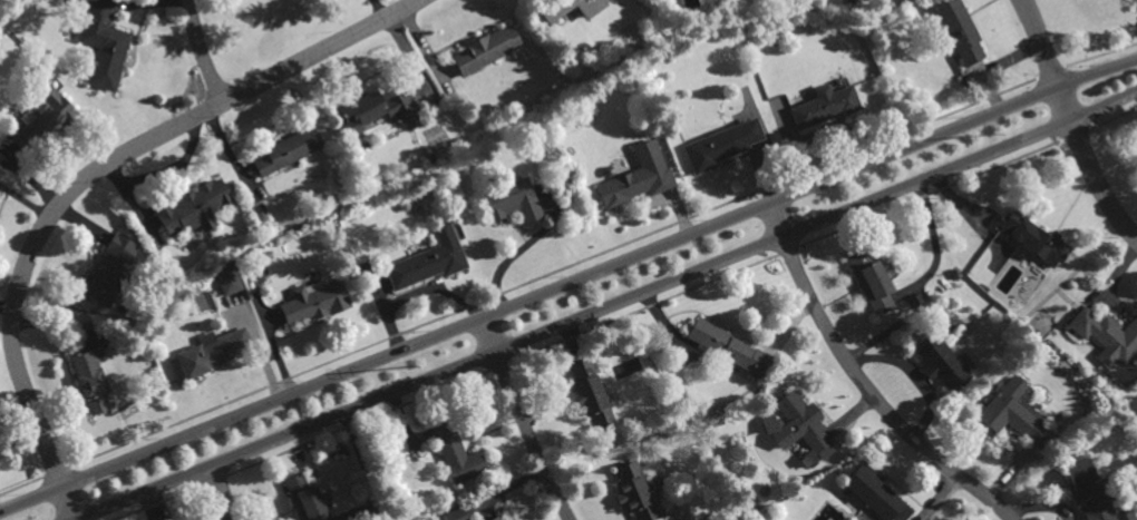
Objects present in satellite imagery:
building: (567, 7)
building: (959, 29)
building: (104, 45)
building: (487, 48)
road: (202, 52)
building: (825, 105)
building: (377, 110)
building: (45, 118)
road: (1072, 122)
power tower: (988, 129)
building: (721, 144)
building: (288, 150)
road: (86, 177)
building: (626, 184)
building: (513, 200)
building: (191, 206)
building: (1038, 241)
building: (429, 258)
building: (107, 268)
building: (227, 277)
building: (871, 279)
road: (567, 284)
building: (313, 300)
road: (608, 306)
building: (1042, 328)
building: (1106, 332)
building: (731, 347)
building: (211, 350)
building: (940, 360)
power tower: (407, 364)
building: (626, 367)
building: (90, 380)
road: (864, 383)
building: (590, 392)
building: (1014, 411)
road: (523, 420)
building: (803, 422)
building: (455, 451)
building: (809, 458)
building: (633, 491)
building: (875, 492)
building: (1092, 492)
road: (218, 493)
building: (303, 494)
building: (455, 513)
building: (492, 518)

